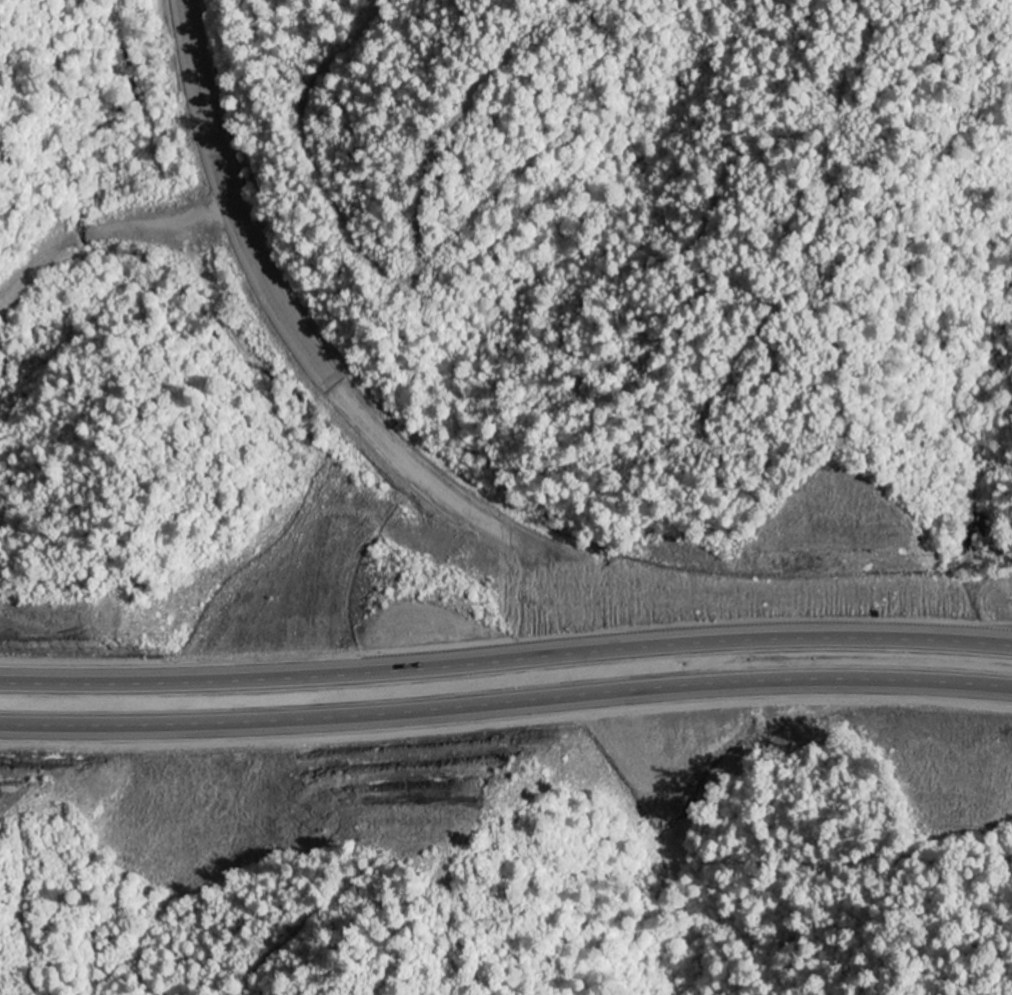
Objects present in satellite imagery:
road: (275, 296)
road: (506, 664)
road: (506, 709)

